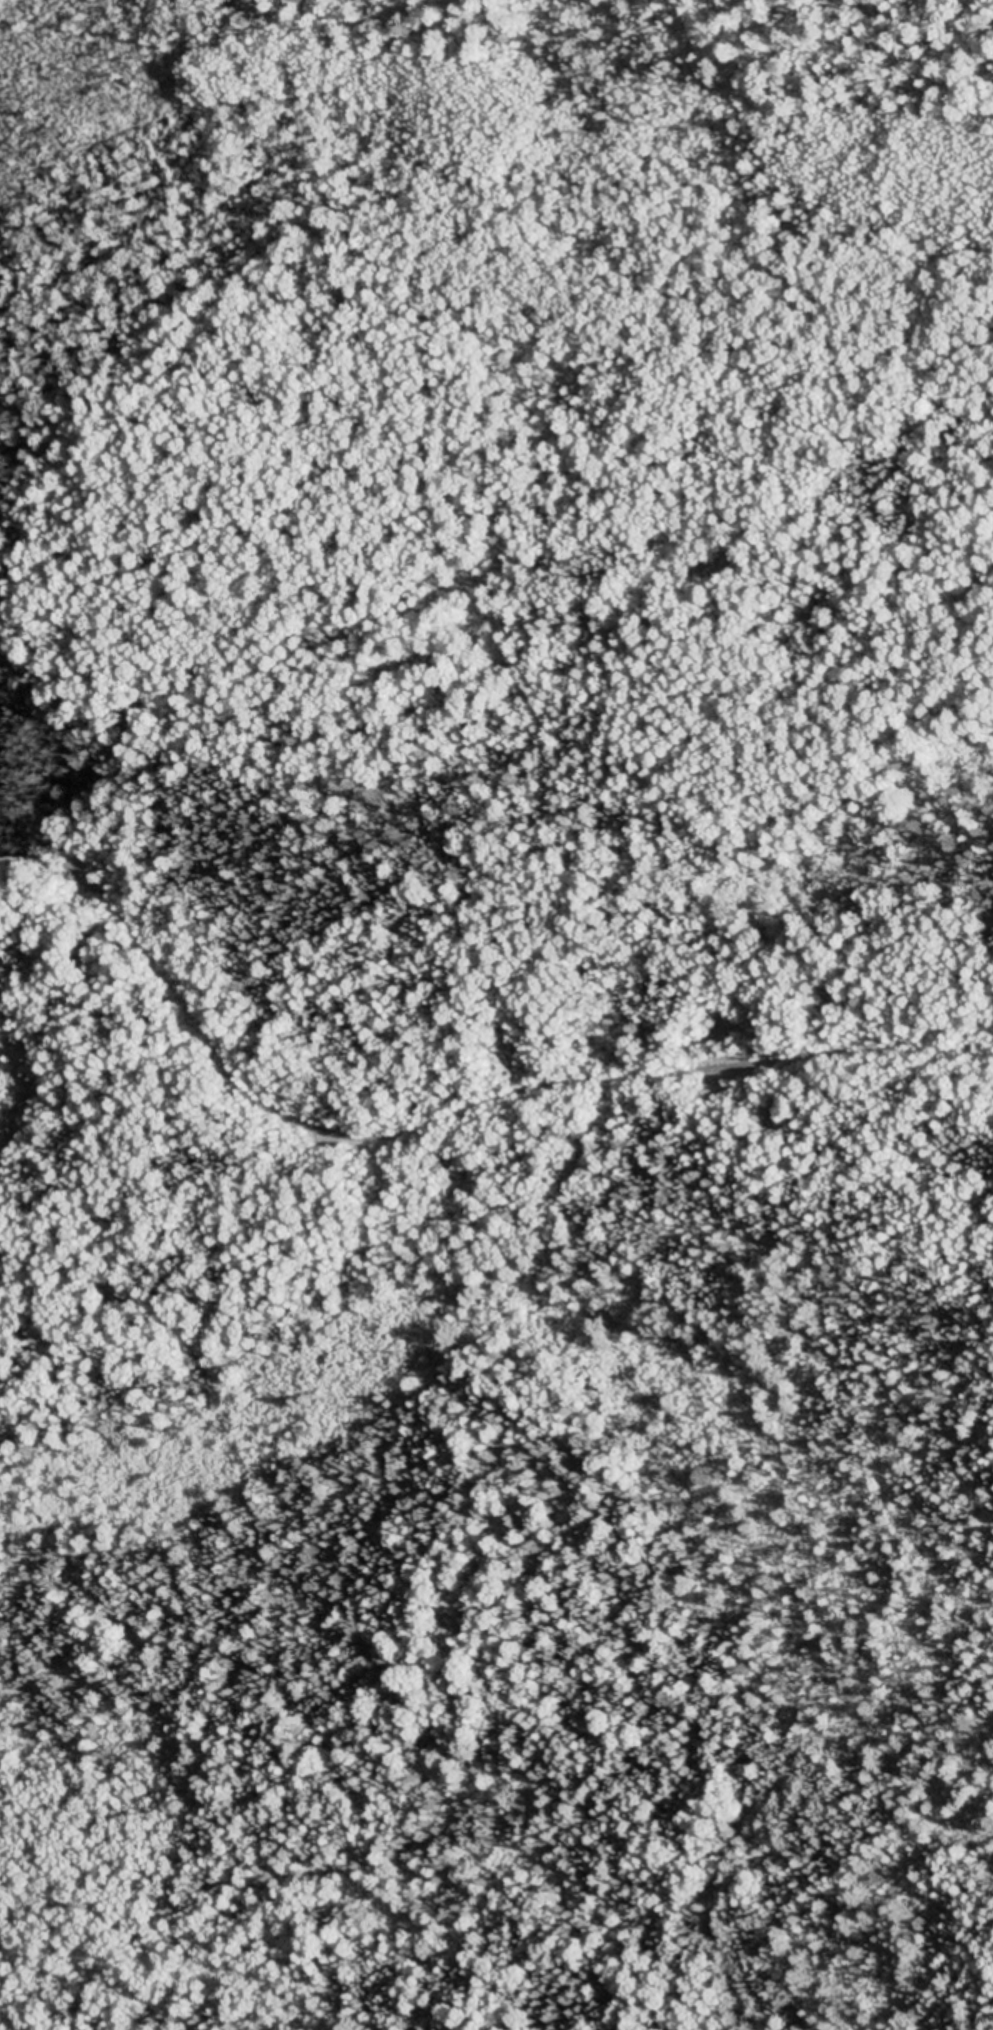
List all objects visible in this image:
road: (423, 1100)

